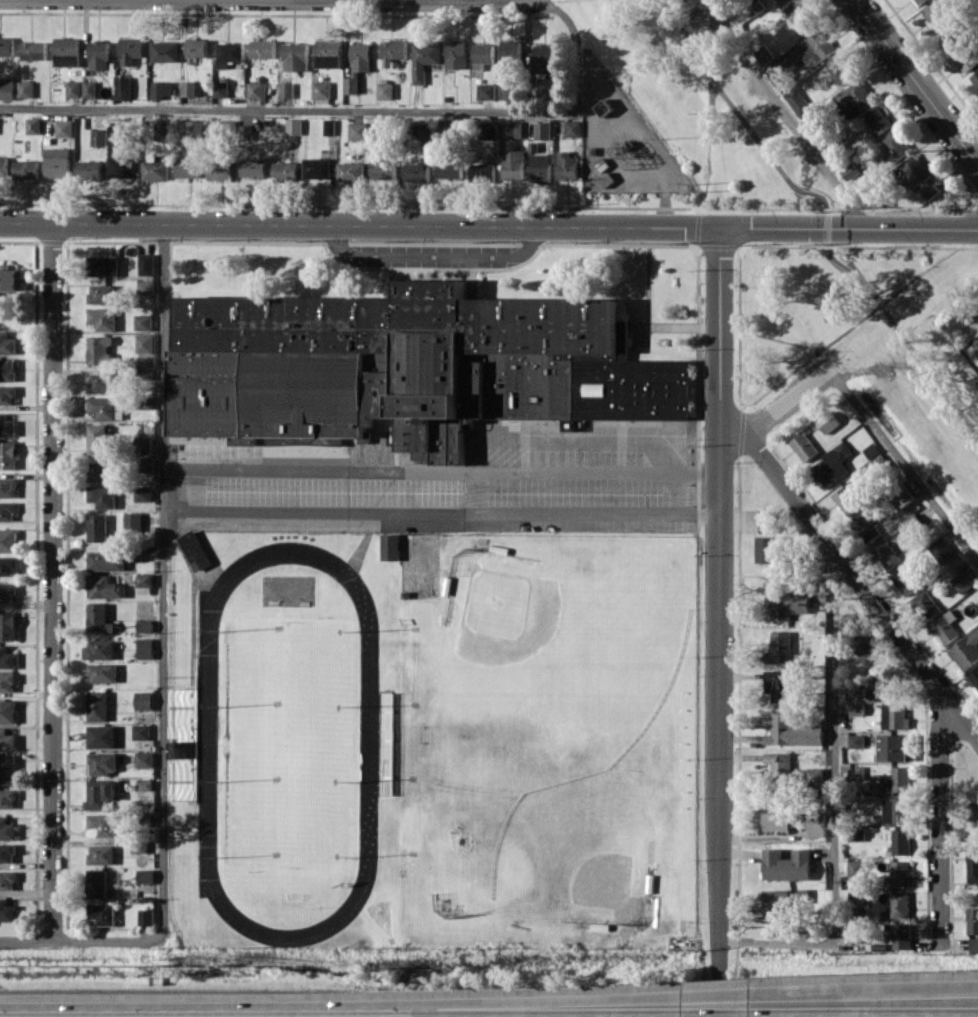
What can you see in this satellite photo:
road: (446, 1)
road: (546, 1)
building: (920, 1)
building: (783, 2)
building: (934, 14)
building: (801, 19)
building: (952, 34)
building: (6, 46)
building: (197, 47)
building: (816, 47)
building: (263, 48)
building: (33, 50)
building: (131, 50)
building: (66, 51)
building: (165, 51)
building: (510, 51)
building: (392, 52)
building: (229, 53)
building: (328, 53)
building: (456, 54)
building: (482, 54)
building: (99, 55)
building: (764, 55)
building: (295, 56)
building: (544, 58)
building: (967, 58)
building: (424, 59)
building: (789, 59)
building: (358, 65)
building: (840, 68)
building: (975, 77)
road: (915, 81)
building: (123, 87)
building: (7, 88)
building: (162, 88)
building: (191, 88)
building: (25, 89)
building: (74, 89)
building: (89, 89)
building: (221, 89)
building: (256, 89)
building: (286, 89)
building: (321, 89)
building: (385, 90)
building: (511, 90)
building: (486, 91)
road: (722, 91)
building: (855, 94)
building: (797, 101)
building: (604, 107)
road: (349, 108)
road: (787, 117)
building: (878, 119)
building: (33, 125)
building: (294, 126)
building: (330, 126)
building: (65, 128)
building: (160, 128)
building: (194, 128)
building: (573, 128)
building: (511, 129)
building: (358, 130)
building: (487, 130)
building: (543, 130)
building: (424, 131)
building: (126, 134)
building: (99, 137)
road: (647, 138)
building: (895, 147)
building: (58, 162)
building: (514, 164)
building: (4, 165)
building: (123, 166)
building: (567, 166)
building: (188, 167)
building: (254, 167)
building: (317, 168)
building: (541, 168)
building: (26, 169)
building: (90, 169)
building: (383, 169)
building: (450, 169)
building: (156, 170)
building: (286, 171)
building: (351, 171)
building: (220, 172)
building: (417, 172)
building: (483, 172)
building: (849, 172)
building: (920, 177)
road: (489, 225)
road: (827, 232)
road: (433, 255)
building: (147, 264)
building: (105, 265)
building: (12, 279)
building: (146, 286)
building: (102, 294)
building: (103, 318)
building: (144, 321)
building: (7, 343)
building: (145, 343)
building: (99, 349)
road: (922, 361)
building: (408, 366)
building: (8, 369)
building: (102, 382)
building: (7, 394)
road: (789, 399)
building: (106, 408)
building: (827, 422)
building: (7, 426)
building: (98, 438)
building: (144, 445)
building: (803, 446)
building: (8, 454)
building: (147, 464)
building: (832, 465)
road: (904, 465)
building: (102, 471)
road: (442, 472)
building: (8, 487)
building: (143, 493)
building: (900, 495)
building: (103, 496)
building: (849, 497)
building: (7, 511)
road: (442, 511)
building: (766, 519)
building: (133, 522)
building: (867, 525)
building: (98, 527)
building: (8, 540)
building: (391, 546)
building: (195, 549)
building: (767, 549)
building: (942, 550)
building: (885, 555)
building: (106, 560)
building: (9, 565)
road: (854, 574)
road: (165, 577)
building: (144, 580)
building: (905, 580)
building: (965, 580)
road: (53, 581)
building: (105, 587)
building: (7, 593)
building: (977, 603)
building: (925, 604)
building: (783, 605)
building: (99, 618)
road: (718, 622)
building: (145, 625)
building: (8, 626)
building: (945, 627)
building: (779, 644)
building: (861, 644)
building: (145, 647)
building: (99, 649)
building: (965, 650)
building: (7, 658)
park: (551, 670)
building: (103, 672)
building: (974, 678)
building: (7, 682)
building: (885, 684)
building: (778, 685)
building: (856, 691)
building: (144, 700)
building: (98, 705)
building: (856, 708)
building: (8, 711)
building: (894, 715)
building: (792, 731)
building: (142, 732)
building: (102, 736)
building: (7, 739)
building: (854, 740)
building: (185, 743)
track: (370, 744)
building: (894, 747)
building: (144, 759)
building: (103, 763)
building: (778, 765)
building: (8, 769)
building: (854, 771)
building: (896, 779)
building: (100, 793)
building: (7, 798)
road: (834, 801)
building: (895, 810)
building: (974, 810)
road: (939, 820)
building: (777, 821)
building: (102, 825)
building: (7, 829)
building: (899, 841)
park: (583, 846)
building: (7, 852)
building: (102, 854)
building: (786, 864)
building: (972, 865)
building: (853, 867)
building: (898, 873)
building: (146, 875)
building: (7, 880)
building: (98, 883)
building: (783, 896)
building: (855, 898)
building: (898, 904)
building: (7, 910)
building: (103, 913)
building: (146, 916)
building: (971, 921)
building: (899, 935)
road: (109, 939)
road: (26, 940)
building: (973, 943)
road: (866, 991)
road: (721, 994)
road: (520, 1000)
building: (377, 1016)
building: (723, 1016)

